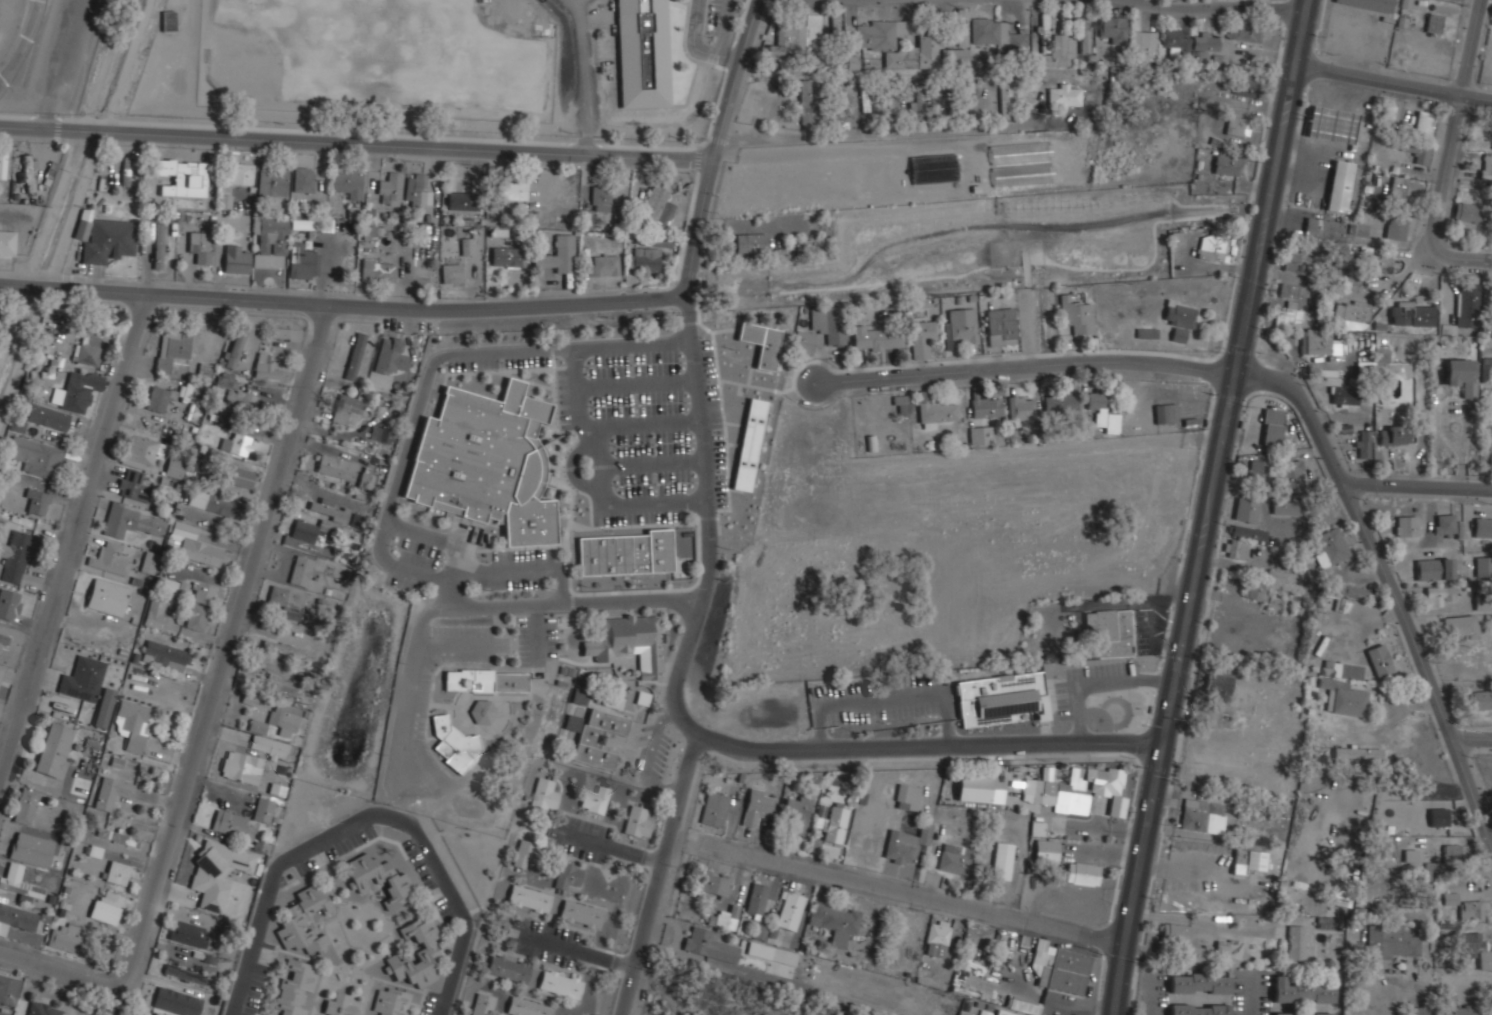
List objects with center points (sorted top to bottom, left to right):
building: (1370, 4)
road: (1223, 7)
building: (168, 20)
building: (836, 20)
building: (1434, 24)
building: (962, 27)
building: (1114, 29)
building: (1245, 30)
building: (1044, 33)
building: (879, 34)
building: (997, 34)
building: (1086, 36)
building: (796, 37)
road: (23, 40)
building: (1175, 42)
building: (1143, 45)
road: (1469, 46)
building: (1203, 47)
road: (702, 48)
building: (915, 51)
building: (643, 53)
building: (851, 53)
building: (1058, 53)
parking lot: (64, 54)
building: (955, 57)
building: (1218, 62)
road: (59, 63)
road: (1389, 80)
building: (1246, 86)
building: (1064, 96)
building: (864, 98)
building: (919, 101)
building: (809, 102)
building: (1423, 123)
building: (1331, 124)
building: (1237, 126)
road: (730, 145)
road: (362, 146)
building: (1417, 152)
building: (3, 164)
building: (1226, 165)
building: (1486, 165)
building: (28, 171)
building: (126, 171)
building: (241, 173)
building: (182, 176)
building: (303, 179)
building: (272, 182)
building: (348, 185)
building: (1339, 185)
building: (1406, 187)
building: (391, 189)
building: (418, 189)
building: (511, 190)
building: (461, 192)
building: (602, 198)
building: (225, 201)
building: (657, 206)
road: (1437, 206)
building: (1470, 217)
building: (310, 225)
building: (1399, 226)
building: (1331, 229)
building: (369, 232)
building: (109, 240)
building: (7, 241)
building: (272, 242)
building: (751, 243)
building: (158, 245)
building: (200, 247)
building: (467, 248)
building: (1210, 249)
building: (559, 254)
building: (506, 256)
building: (236, 259)
building: (1364, 260)
building: (1295, 261)
building: (303, 262)
building: (645, 262)
building: (604, 264)
building: (378, 269)
building: (453, 272)
building: (1290, 290)
building: (1485, 295)
road: (352, 306)
building: (1468, 306)
building: (1352, 312)
building: (1076, 315)
building: (1289, 315)
building: (1412, 315)
building: (1179, 316)
building: (827, 323)
building: (962, 325)
building: (1001, 327)
building: (286, 332)
building: (1178, 335)
building: (877, 338)
building: (922, 338)
building: (803, 342)
building: (761, 343)
building: (1319, 344)
building: (235, 348)
building: (87, 349)
building: (173, 349)
building: (392, 351)
building: (355, 356)
road: (1021, 364)
building: (267, 367)
building: (205, 370)
building: (1487, 370)
building: (1461, 375)
road: (429, 382)
building: (76, 391)
building: (1344, 396)
building: (237, 397)
building: (157, 398)
building: (1060, 402)
building: (902, 404)
building: (986, 406)
building: (1021, 408)
building: (347, 410)
building: (935, 412)
building: (1102, 412)
building: (1166, 413)
building: (48, 417)
building: (1271, 428)
building: (381, 434)
building: (980, 435)
building: (1393, 435)
building: (238, 444)
building: (1364, 444)
building: (749, 445)
building: (143, 450)
building: (37, 457)
road: (706, 460)
building: (487, 462)
building: (337, 467)
building: (175, 468)
building: (1258, 469)
building: (1290, 473)
building: (242, 476)
building: (366, 481)
building: (134, 485)
road: (1417, 485)
building: (37, 501)
building: (214, 502)
road: (1200, 507)
road: (1215, 507)
building: (1285, 507)
building: (1246, 509)
building: (330, 510)
building: (132, 521)
building: (1444, 524)
building: (1406, 527)
building: (1483, 527)
building: (309, 532)
building: (1248, 532)
road: (73, 537)
building: (197, 544)
building: (1331, 546)
building: (1235, 549)
building: (627, 554)
building: (15, 556)
building: (110, 558)
building: (149, 561)
building: (1483, 565)
building: (0, 566)
building: (1434, 568)
building: (301, 570)
road: (516, 570)
building: (1280, 575)
road: (1386, 583)
building: (1347, 591)
building: (203, 592)
building: (1438, 595)
building: (107, 596)
building: (1267, 596)
building: (283, 601)
building: (1483, 601)
building: (9, 603)
building: (156, 612)
building: (197, 617)
building: (1462, 626)
building: (1110, 632)
building: (3, 640)
building: (630, 642)
road: (228, 645)
building: (283, 648)
building: (165, 654)
building: (1379, 659)
building: (1489, 666)
building: (1, 670)
building: (83, 679)
building: (486, 680)
building: (277, 685)
building: (1218, 685)
building: (579, 696)
building: (643, 698)
building: (249, 699)
building: (1002, 699)
building: (1345, 699)
building: (1482, 699)
building: (104, 707)
building: (483, 712)
building: (285, 718)
building: (132, 723)
building: (258, 725)
road: (1472, 734)
building: (595, 736)
road: (730, 741)
building: (454, 746)
building: (54, 749)
building: (1359, 752)
building: (251, 759)
building: (277, 788)
building: (978, 788)
building: (1067, 789)
building: (112, 792)
building: (544, 794)
building: (908, 797)
building: (595, 799)
building: (25, 805)
building: (263, 808)
building: (714, 809)
building: (756, 810)
building: (796, 815)
building: (1201, 816)
building: (1439, 816)
building: (637, 821)
building: (232, 824)
building: (835, 825)
building: (119, 836)
building: (905, 846)
road: (614, 847)
building: (32, 849)
building: (1046, 850)
building: (95, 851)
building: (525, 853)
building: (1453, 853)
building: (1410, 856)
building: (954, 858)
building: (1249, 859)
building: (1002, 860)
building: (116, 872)
building: (218, 872)
road: (658, 873)
building: (1082, 873)
building: (568, 875)
building: (380, 878)
building: (715, 882)
building: (20, 883)
road: (271, 888)
road: (923, 896)
road: (453, 898)
building: (529, 898)
building: (757, 898)
building: (1448, 898)
building: (1235, 901)
building: (105, 908)
building: (1472, 909)
building: (790, 910)
building: (581, 914)
building: (16, 918)
building: (727, 918)
building: (834, 920)
building: (304, 921)
road: (1203, 923)
building: (189, 933)
building: (66, 937)
building: (937, 938)
building: (1185, 941)
building: (1394, 941)
building: (1296, 943)
building: (708, 944)
building: (1230, 948)
building: (1476, 949)
road: (582, 951)
building: (417, 953)
building: (785, 956)
building: (1060, 967)
building: (509, 968)
road: (58, 969)
building: (185, 974)
building: (561, 983)
building: (1199, 983)
building: (296, 988)
building: (9, 989)
building: (1301, 992)
road: (1253, 993)
road: (1151, 995)
building: (177, 1001)
building: (391, 1001)
building: (483, 1004)
building: (339, 1005)
building: (1024, 1005)
building: (527, 1007)
building: (43, 1008)
building: (1198, 1009)
building: (1424, 1010)
building: (1467, 1011)
building: (1491, 1011)
building: (1004, 1012)
building: (985, 1013)
building: (1302, 1013)
building: (138, 1014)

